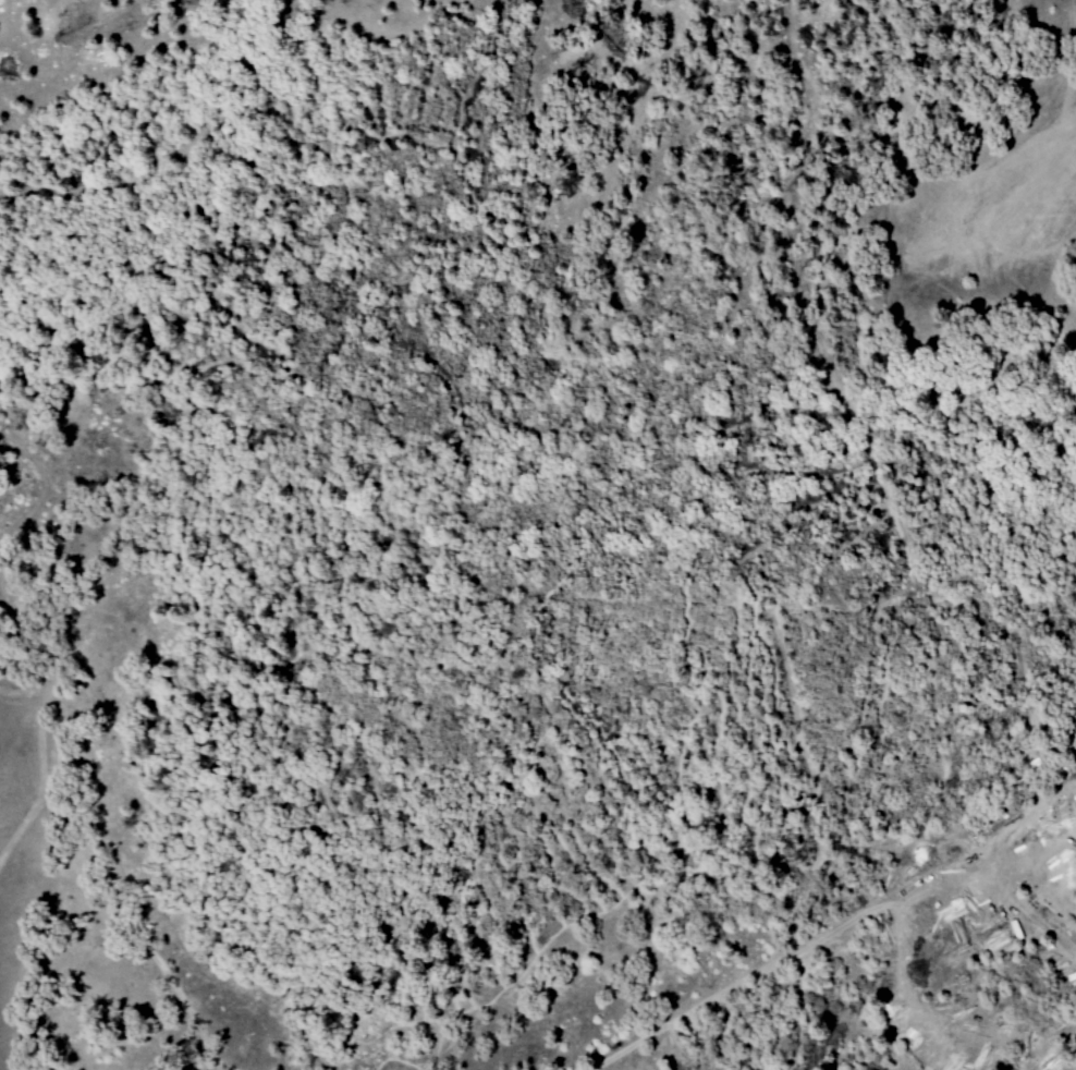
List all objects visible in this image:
road: (1019, 912)

